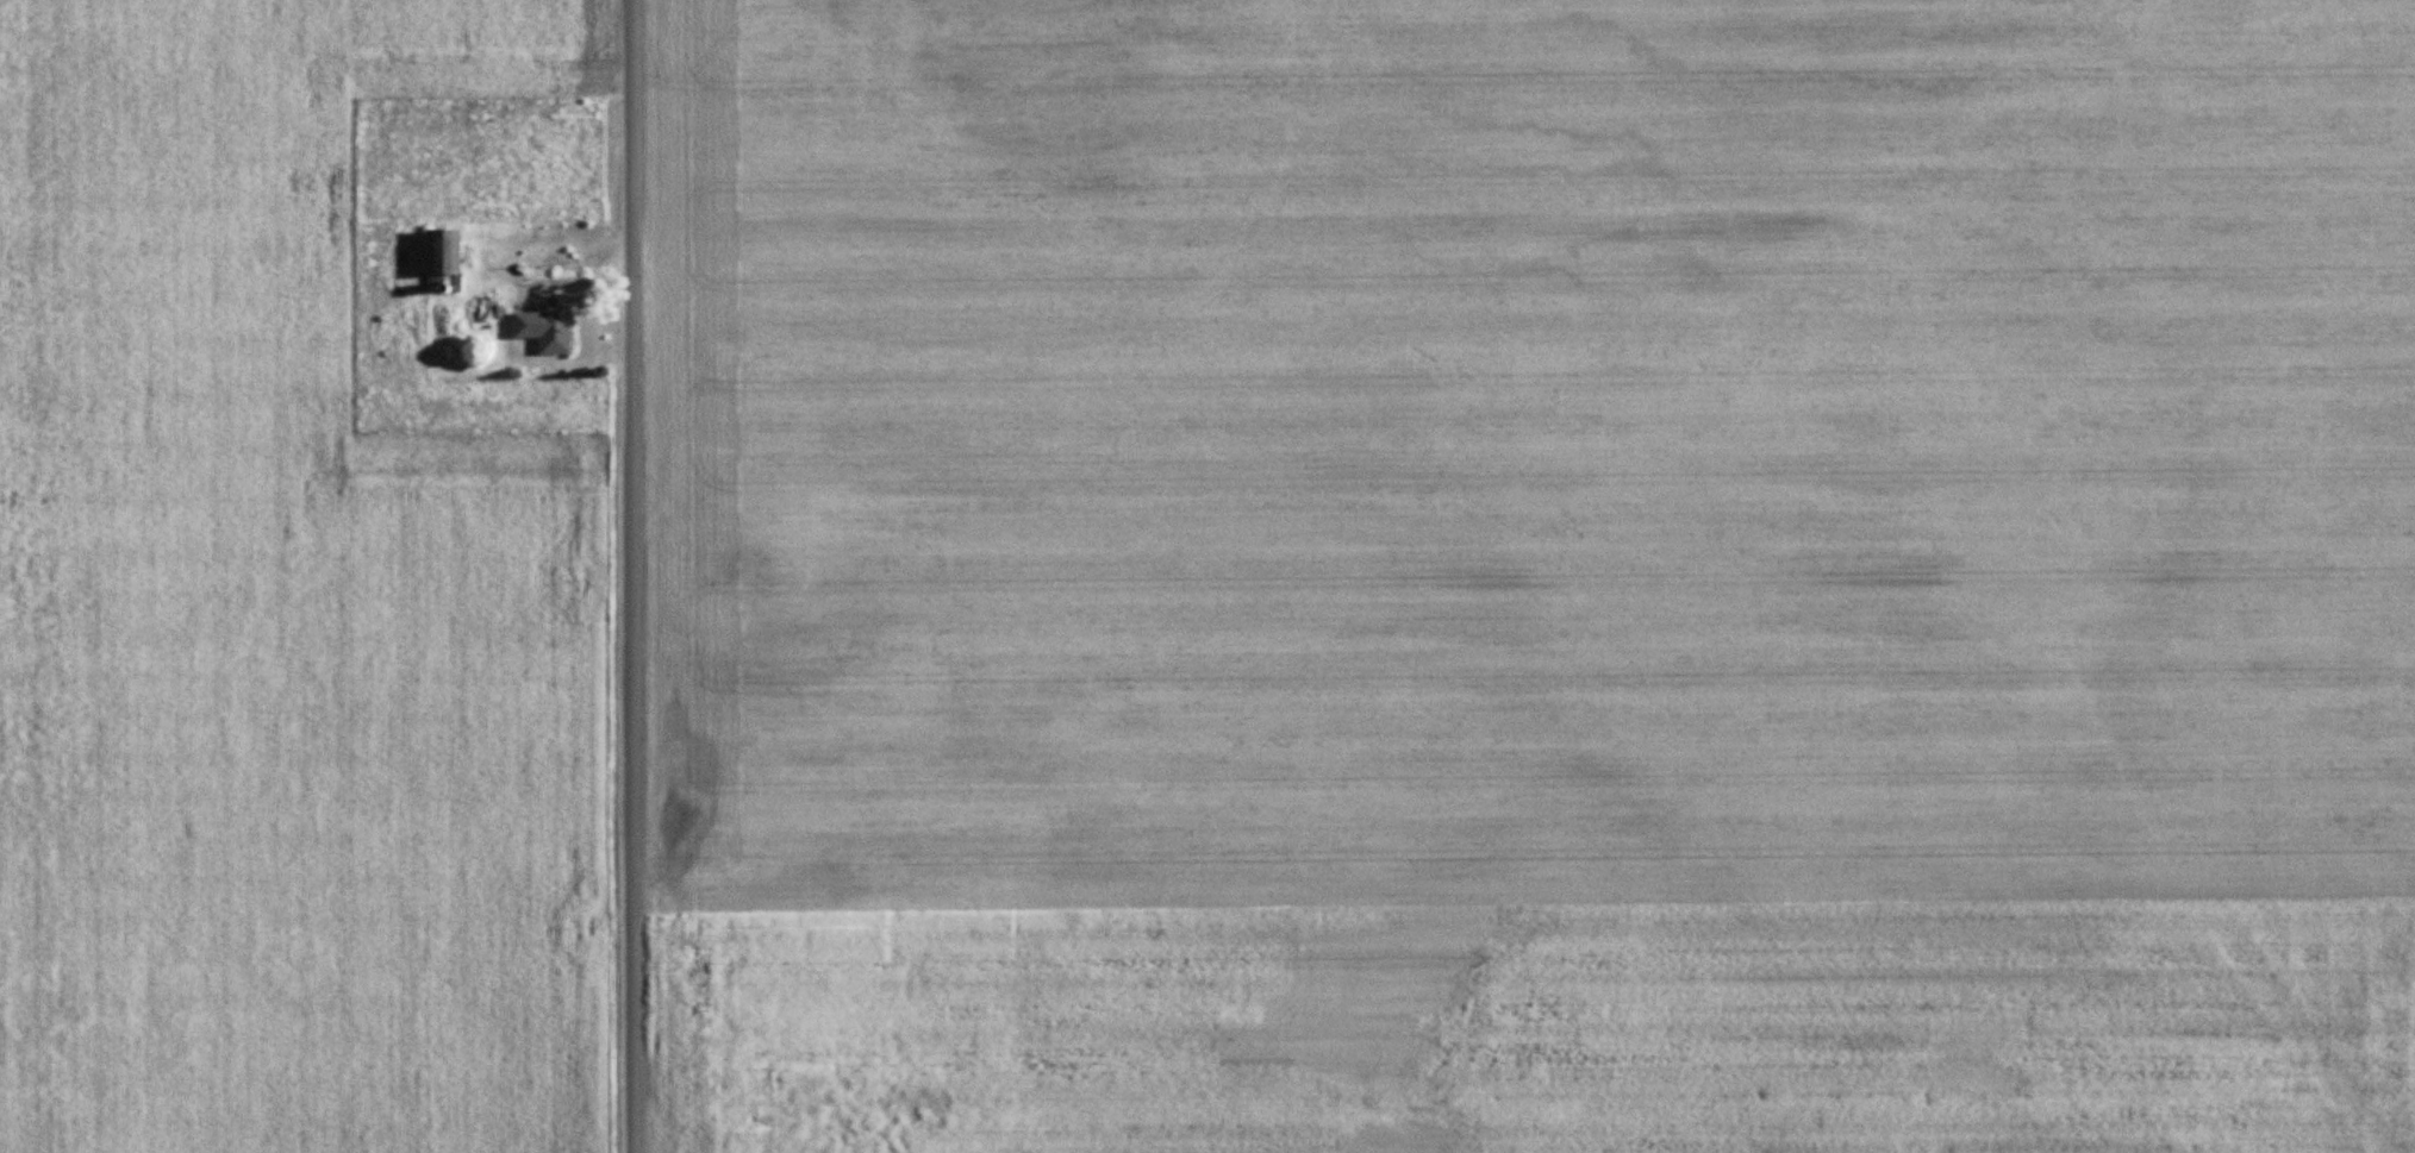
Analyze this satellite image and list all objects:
building: (442, 253)
building: (544, 327)
road: (630, 576)

